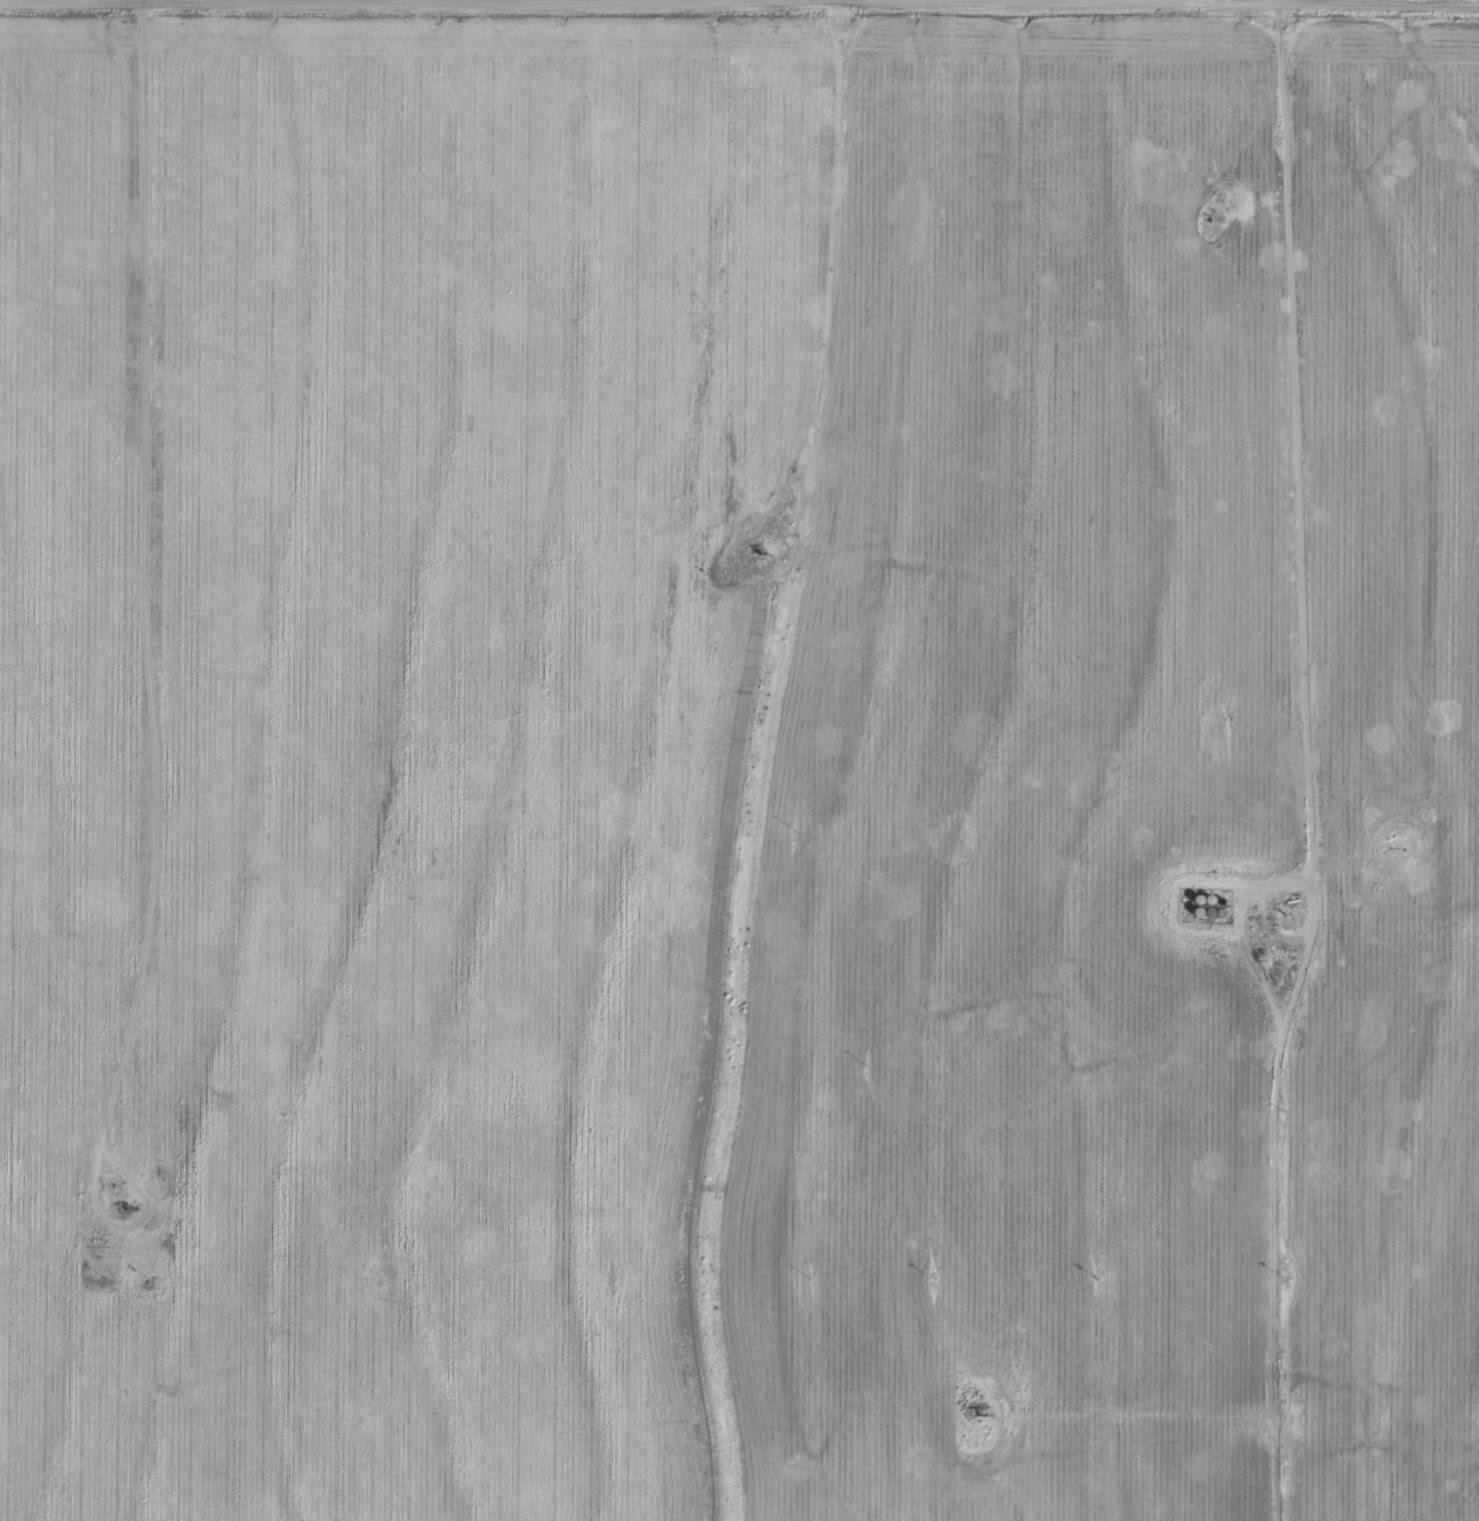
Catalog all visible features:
petroleum well: (1226, 197)
road: (1392, 433)
petroleum well: (776, 550)
road: (1313, 762)
road: (1393, 898)
petroleum well: (131, 1207)
petroleum well: (988, 1410)

